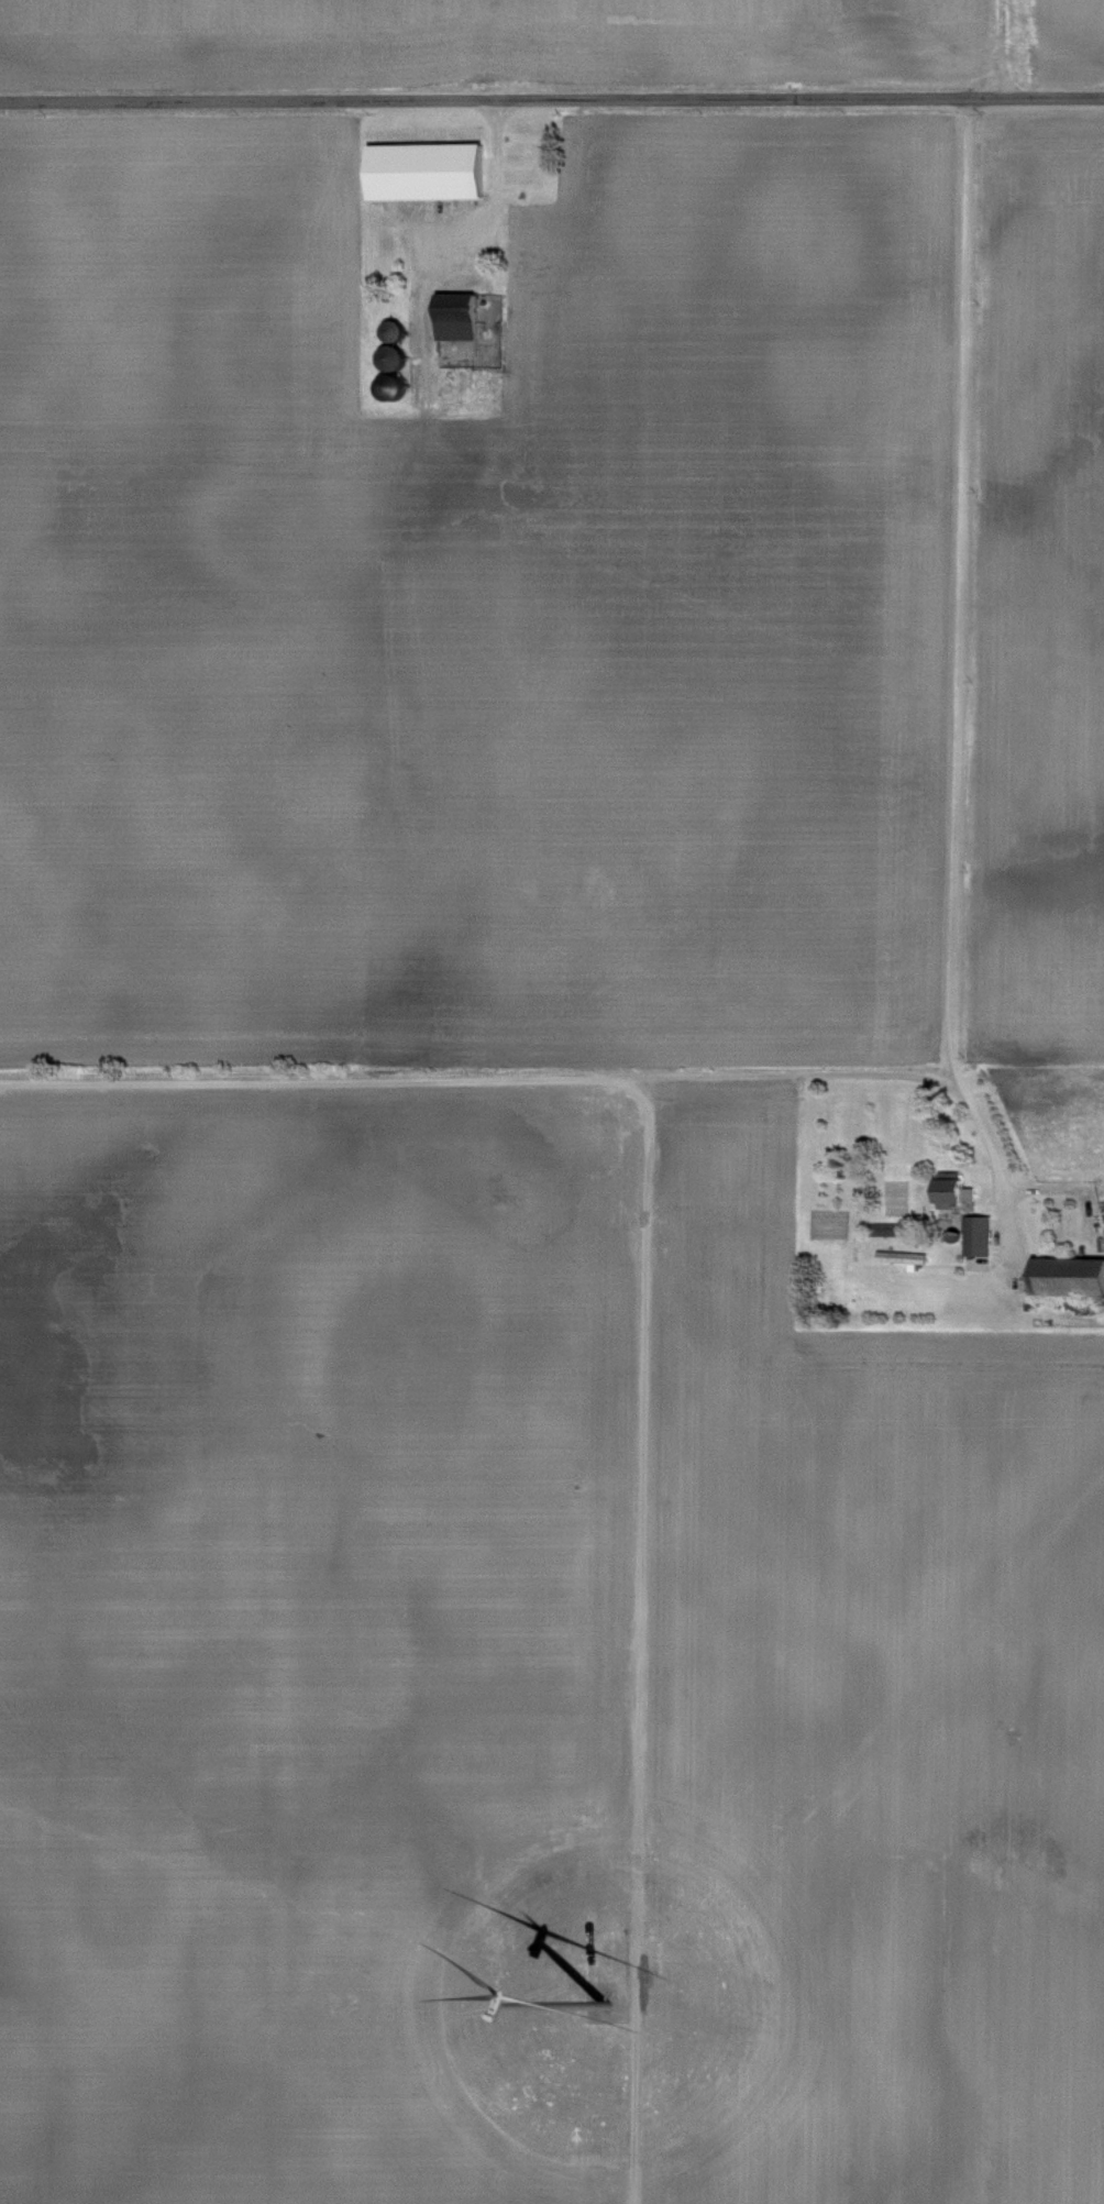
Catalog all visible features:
road: (1001, 48)
road: (552, 102)
building: (422, 170)
road: (487, 224)
building: (462, 329)
road: (954, 690)
building: (949, 1193)
building: (974, 1233)
building: (1066, 1274)
road: (1006, 1331)
wind turbine: (604, 2004)

